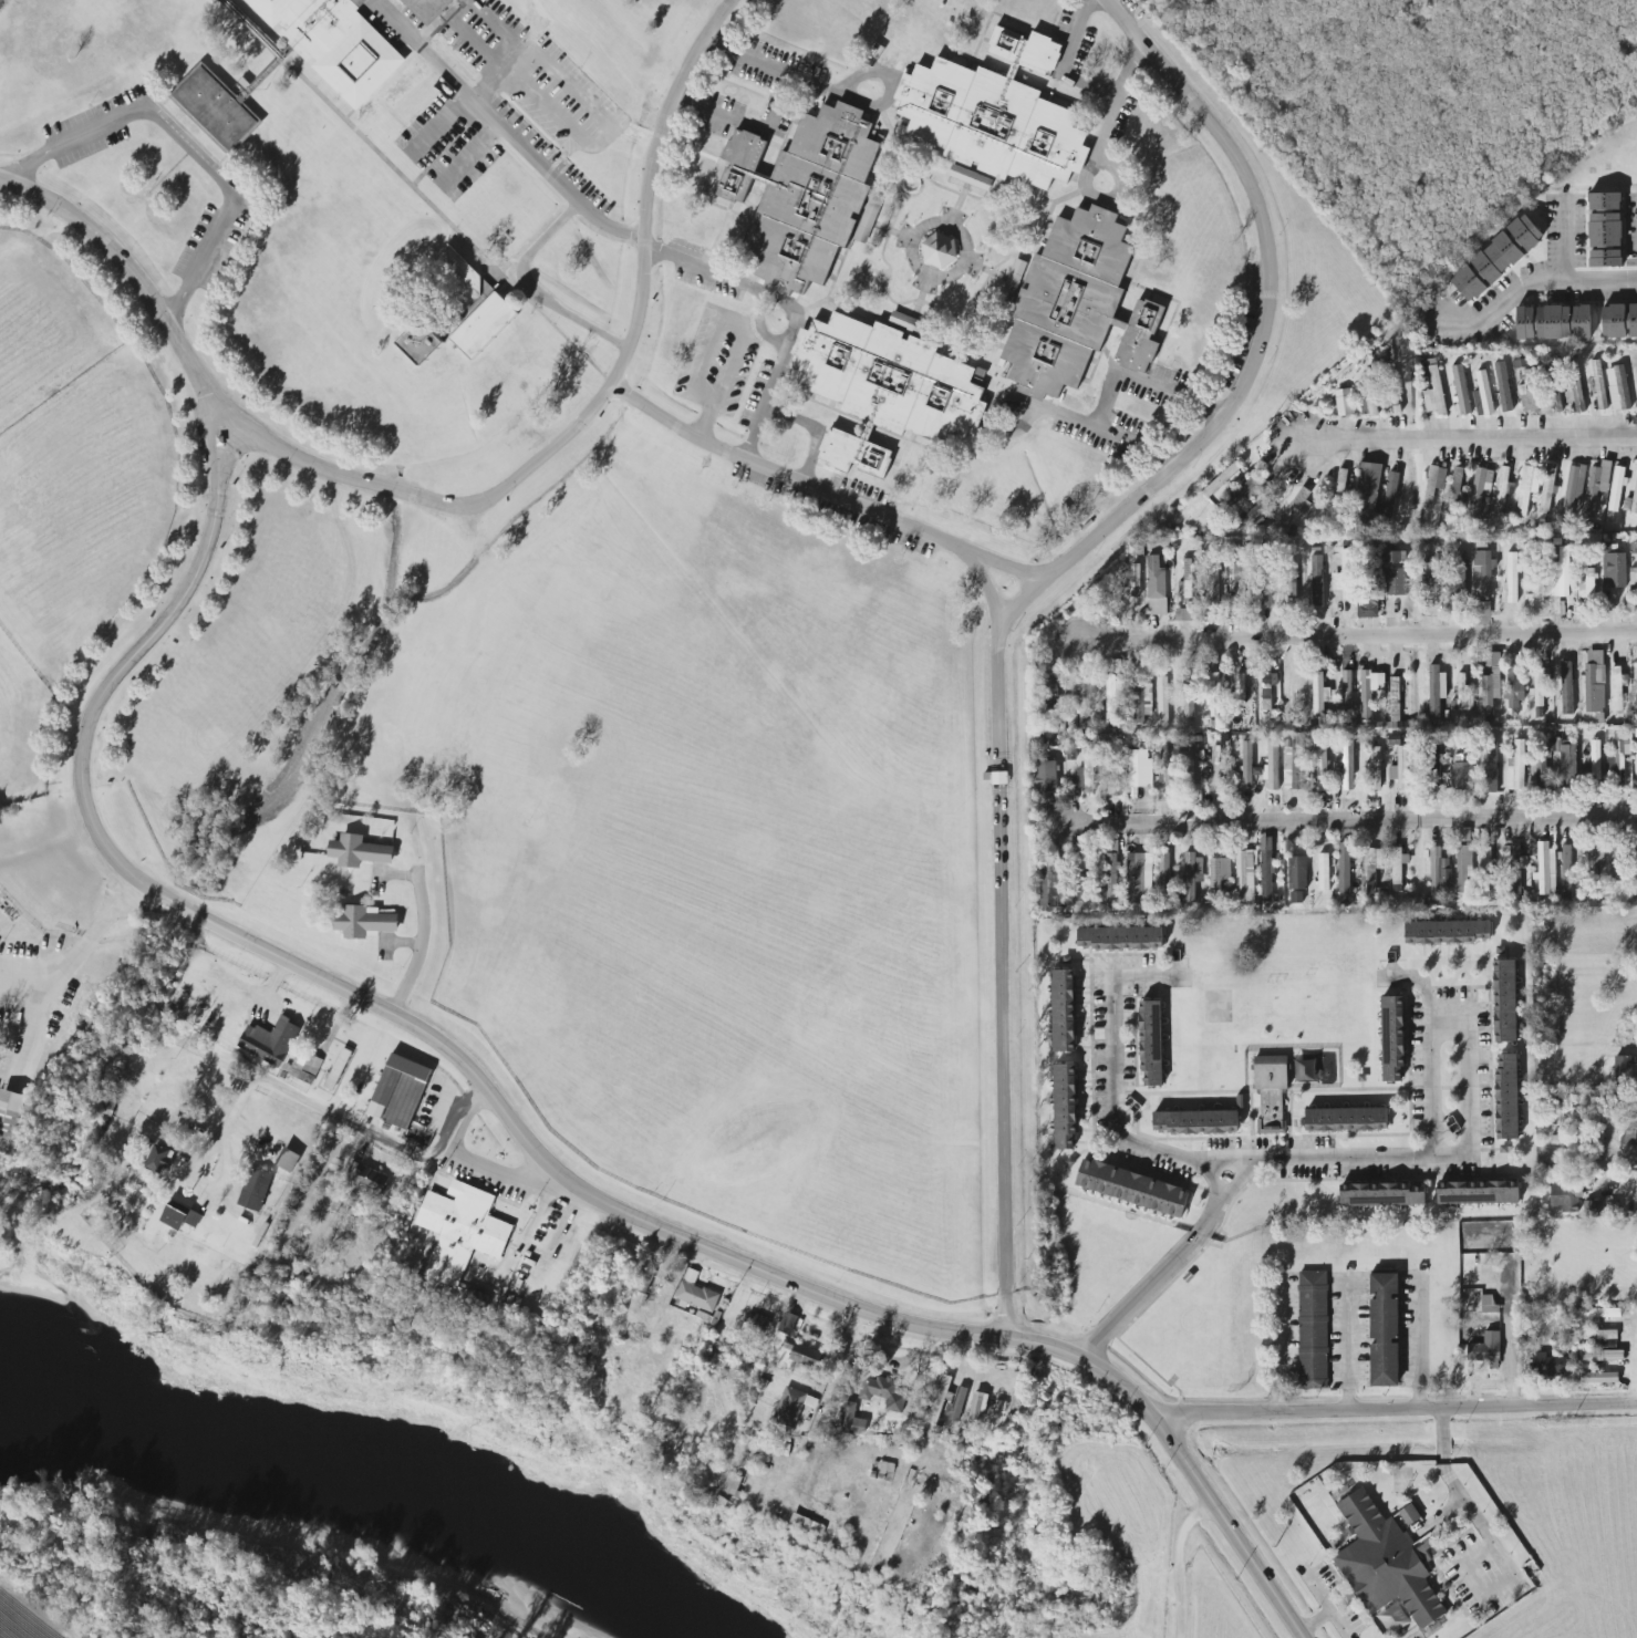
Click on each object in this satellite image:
building: (428, 9)
road: (454, 20)
building: (335, 43)
road: (870, 73)
road: (1086, 80)
road: (776, 105)
building: (217, 106)
building: (994, 114)
road: (441, 124)
road: (610, 134)
road: (1101, 134)
road: (182, 144)
road: (468, 156)
building: (970, 178)
building: (804, 196)
road: (569, 199)
building: (1605, 230)
road: (541, 242)
road: (1566, 243)
building: (939, 250)
building: (1496, 258)
building: (469, 279)
building: (1014, 279)
road: (1532, 290)
building: (1077, 307)
building: (1619, 320)
building: (1563, 322)
road: (727, 323)
building: (1525, 323)
building: (485, 326)
building: (422, 343)
road: (785, 344)
road: (589, 363)
building: (1520, 363)
building: (1501, 376)
building: (1599, 384)
road: (1110, 386)
building: (884, 387)
building: (1460, 388)
building: (1437, 390)
building: (1619, 390)
building: (1369, 393)
building: (1576, 394)
building: (1553, 401)
building: (1344, 402)
road: (1054, 412)
road: (796, 417)
road: (705, 418)
road: (1463, 436)
building: (1224, 479)
building: (1433, 485)
building: (1596, 486)
building: (1573, 487)
building: (1526, 488)
building: (1480, 489)
building: (1547, 489)
building: (1616, 489)
building: (1247, 490)
building: (1502, 491)
building: (1454, 493)
building: (1390, 497)
building: (1366, 498)
building: (1635, 500)
road: (481, 505)
building: (1294, 510)
building: (1253, 512)
road: (1011, 568)
building: (1614, 568)
building: (1483, 572)
building: (1458, 573)
building: (1431, 574)
building: (1560, 574)
building: (1345, 576)
building: (1237, 577)
building: (1512, 578)
building: (1212, 579)
building: (1136, 580)
building: (1317, 580)
building: (1188, 581)
building: (1396, 581)
building: (1633, 582)
building: (1586, 584)
building: (1288, 585)
building: (1157, 587)
building: (1264, 587)
building: (1536, 592)
road: (1038, 600)
building: (1368, 607)
building: (1183, 614)
road: (1354, 632)
road: (149, 649)
building: (1115, 666)
building: (1595, 681)
building: (1490, 683)
building: (1541, 685)
building: (1566, 687)
building: (1618, 687)
building: (1267, 688)
building: (1515, 688)
building: (1240, 690)
building: (1346, 690)
building: (1436, 691)
building: (1369, 692)
building: (1215, 694)
building: (1463, 694)
building: (1112, 696)
building: (1188, 696)
building: (1319, 696)
building: (1138, 698)
building: (1395, 698)
building: (1086, 699)
building: (1162, 702)
building: (1619, 755)
building: (1595, 761)
building: (1246, 763)
building: (1292, 763)
building: (1348, 765)
building: (1437, 765)
building: (1272, 766)
building: (1320, 766)
building: (1635, 766)
building: (1515, 767)
building: (1138, 768)
building: (1375, 768)
building: (1400, 768)
building: (1490, 768)
building: (1169, 771)
building: (1541, 771)
building: (1046, 776)
building: (1192, 776)
building: (1110, 785)
road: (1356, 821)
building: (1464, 834)
building: (360, 851)
building: (1485, 859)
building: (1594, 859)
building: (1619, 862)
building: (1398, 864)
building: (1344, 868)
building: (1463, 868)
building: (1545, 868)
building: (1565, 868)
building: (1266, 869)
building: (1374, 869)
building: (1515, 869)
building: (1111, 871)
building: (1324, 872)
building: (1439, 872)
building: (1219, 873)
building: (1297, 873)
building: (1244, 875)
building: (1165, 878)
building: (1142, 881)
building: (1051, 884)
building: (1296, 896)
building: (364, 921)
building: (1447, 932)
building: (1120, 936)
road: (85, 945)
road: (422, 950)
building: (1505, 1001)
building: (1064, 1010)
building: (1392, 1039)
building: (270, 1041)
building: (1151, 1041)
building: (305, 1067)
building: (1623, 1068)
building: (338, 1069)
road: (1469, 1090)
building: (400, 1091)
building: (1271, 1091)
building: (1506, 1097)
building: (1065, 1105)
building: (12, 1111)
building: (1346, 1119)
building: (1195, 1121)
road: (351, 1124)
building: (1630, 1138)
building: (1577, 1139)
building: (160, 1159)
building: (289, 1160)
road: (1614, 1161)
road: (467, 1162)
road: (1227, 1163)
building: (371, 1180)
road: (1623, 1185)
building: (1132, 1188)
building: (255, 1190)
building: (1478, 1192)
building: (1381, 1194)
building: (1566, 1195)
road: (548, 1209)
building: (1592, 1209)
building: (180, 1213)
building: (462, 1230)
road: (737, 1262)
road: (1165, 1269)
building: (696, 1292)
building: (1489, 1305)
building: (1600, 1313)
road: (649, 1323)
building: (788, 1323)
road: (1510, 1328)
building: (1313, 1330)
building: (1384, 1330)
building: (1599, 1335)
road: (1348, 1344)
road: (1419, 1344)
road: (1282, 1346)
building: (1485, 1348)
building: (806, 1356)
building: (1602, 1356)
building: (1550, 1366)
building: (1599, 1378)
building: (884, 1392)
road: (972, 1395)
building: (941, 1399)
building: (957, 1404)
building: (794, 1406)
road: (1393, 1408)
building: (978, 1410)
building: (850, 1419)
building: (733, 1484)
river: (346, 1501)
building: (1409, 1515)
building: (801, 1523)
road: (1494, 1545)
building: (1422, 1555)
building: (1384, 1563)
road: (1190, 1567)

